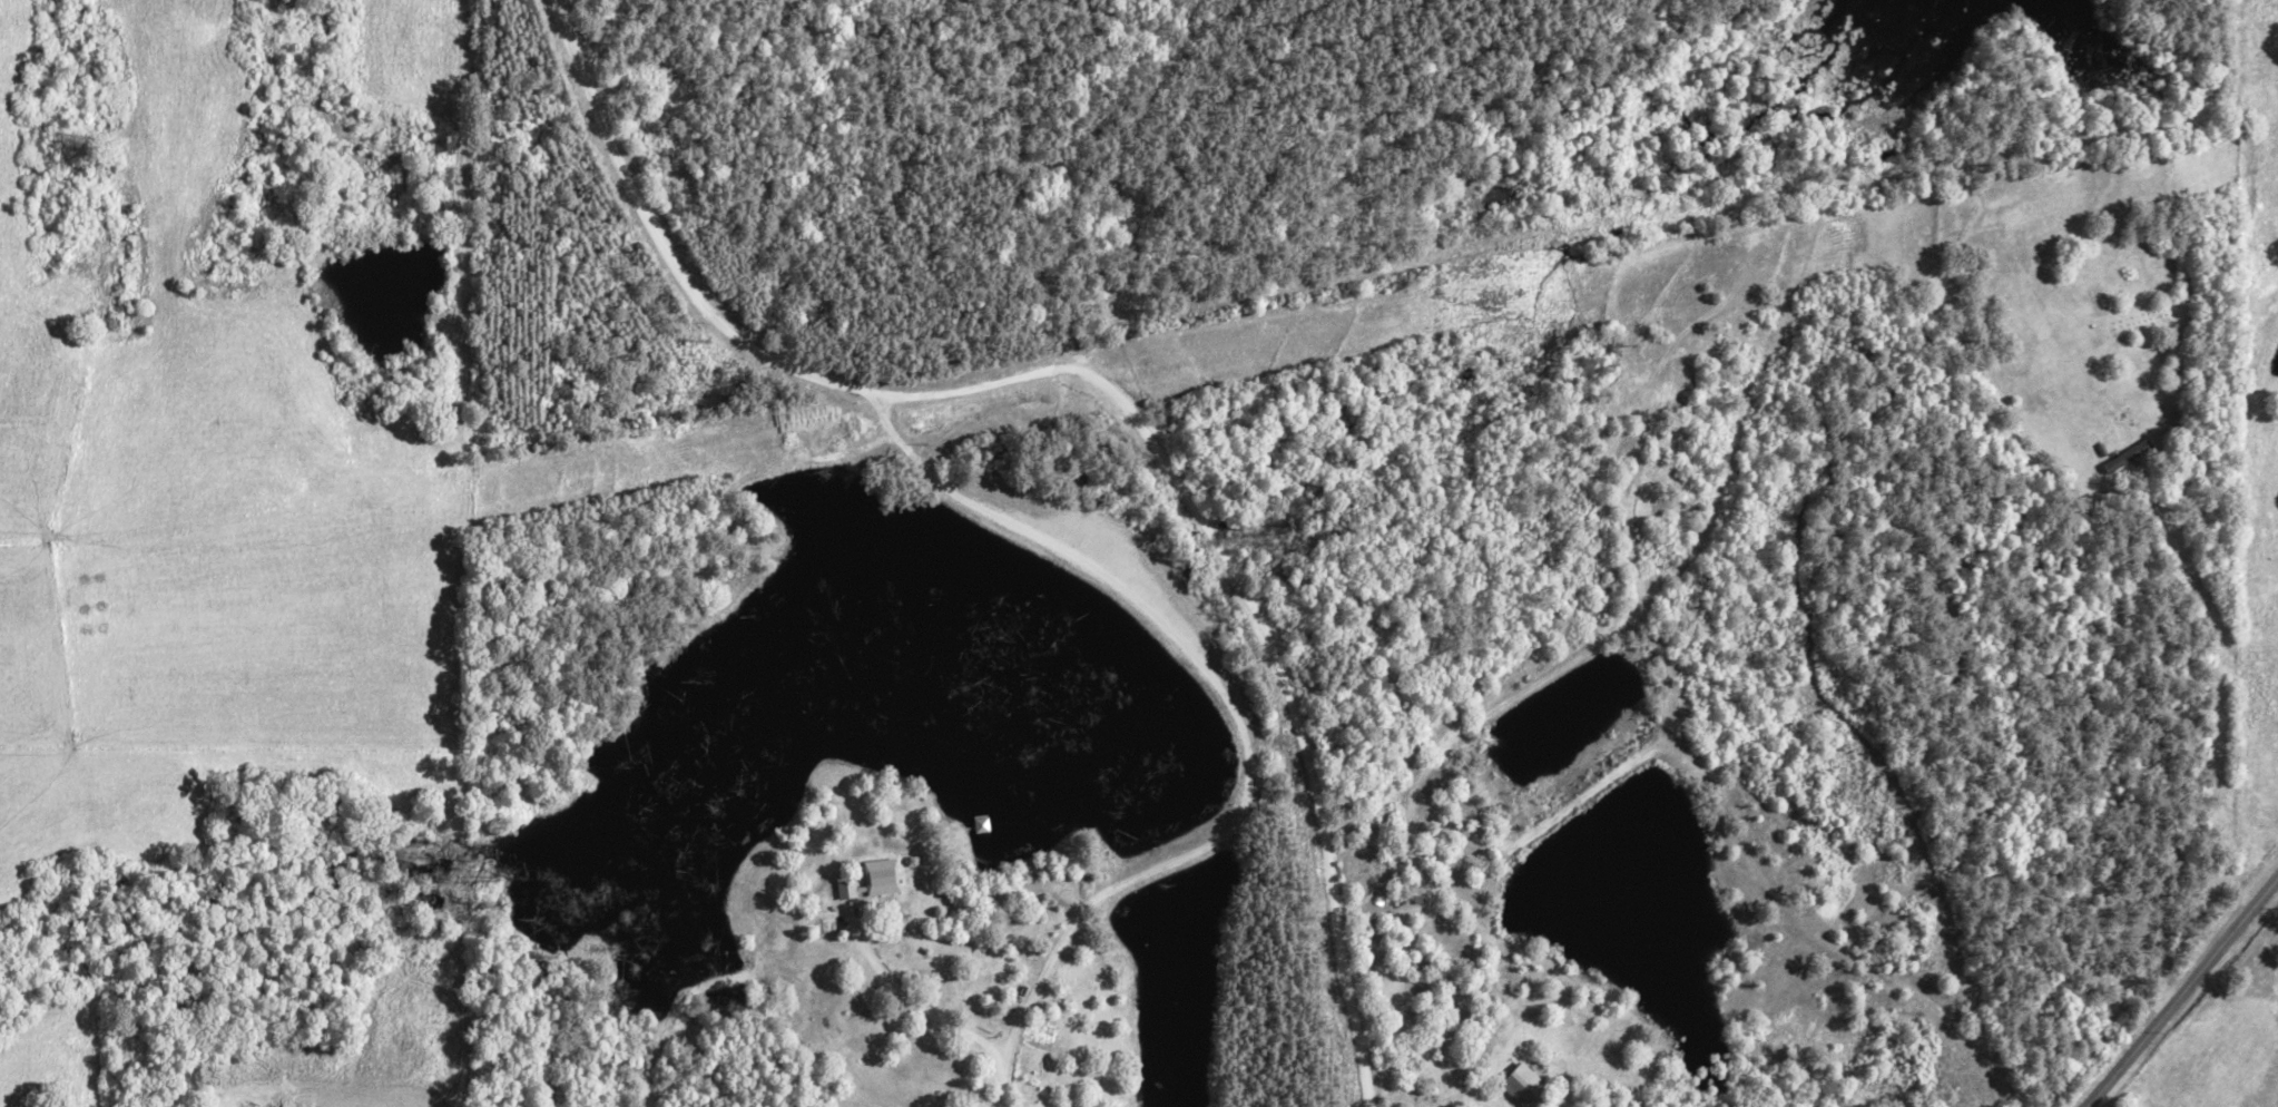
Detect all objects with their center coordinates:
road: (1107, 389)
building: (2125, 458)
building: (868, 879)
road: (2180, 990)
building: (1518, 1085)

